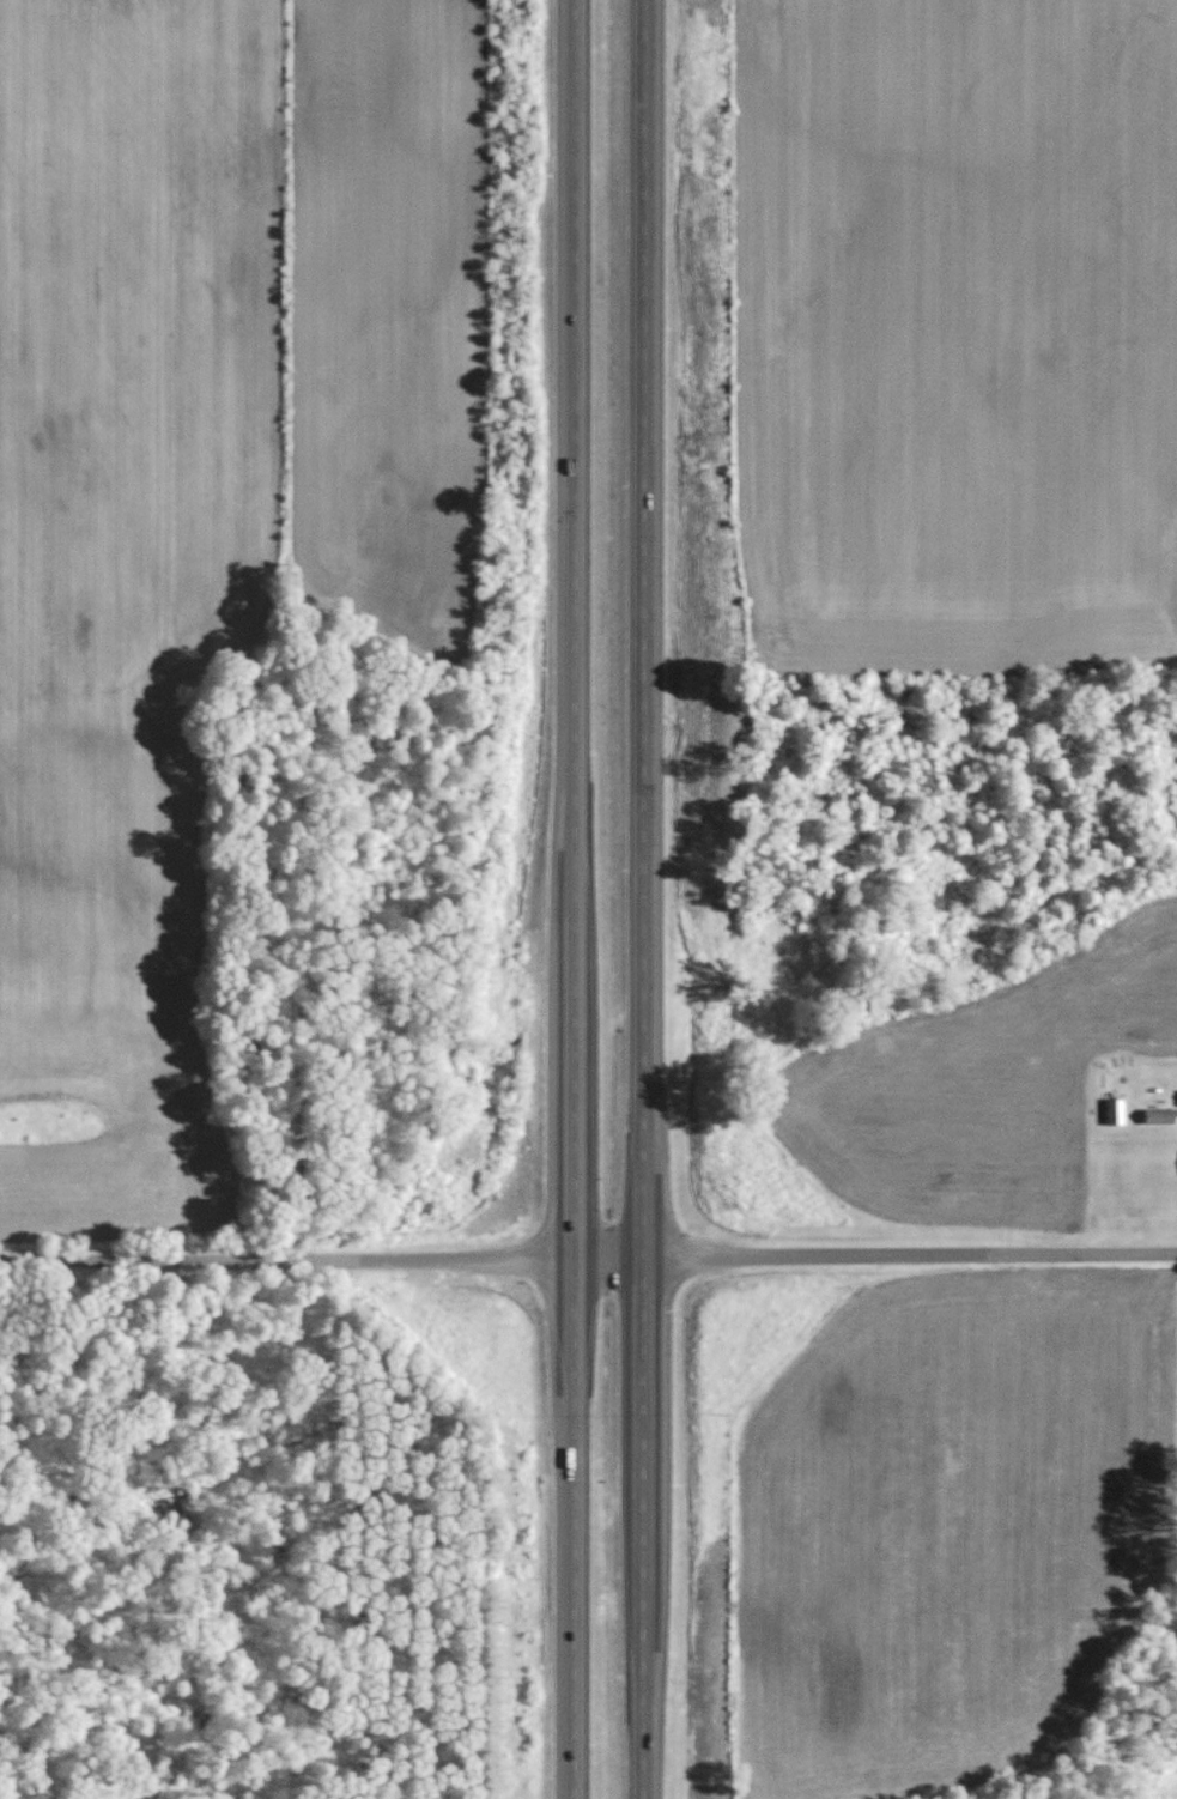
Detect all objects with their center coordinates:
road: (575, 898)
road: (644, 899)
building: (1115, 1111)
building: (1159, 1116)
road: (910, 1256)
road: (321, 1259)

